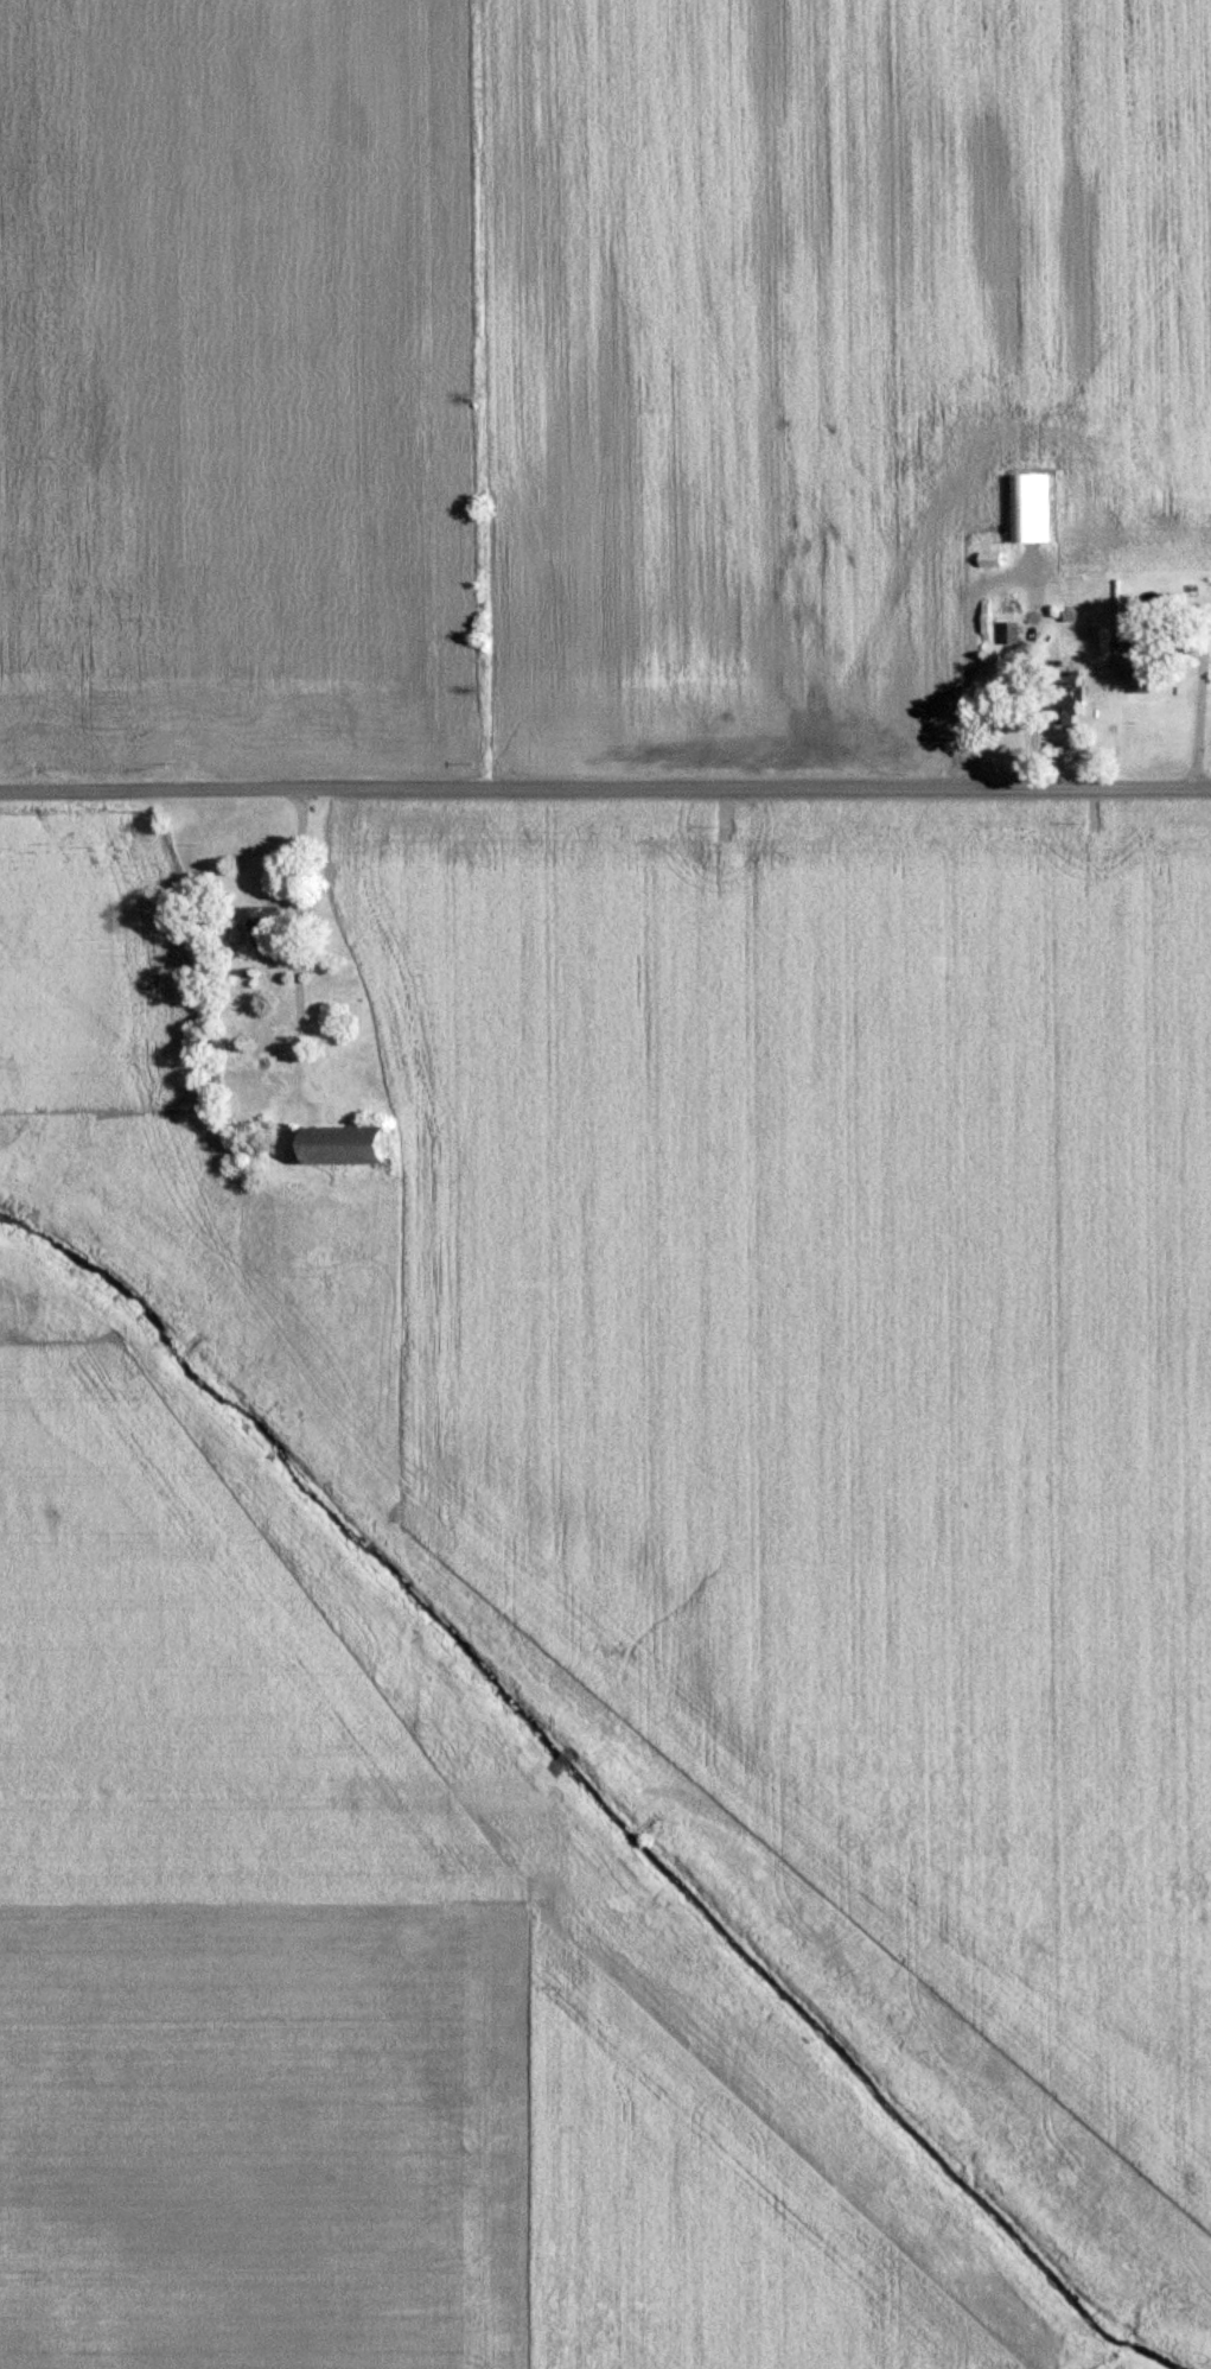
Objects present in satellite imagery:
building: (1030, 508)
building: (1009, 634)
building: (1140, 667)
building: (1066, 698)
road: (605, 792)
road: (298, 866)
building: (264, 919)
building: (342, 1145)

